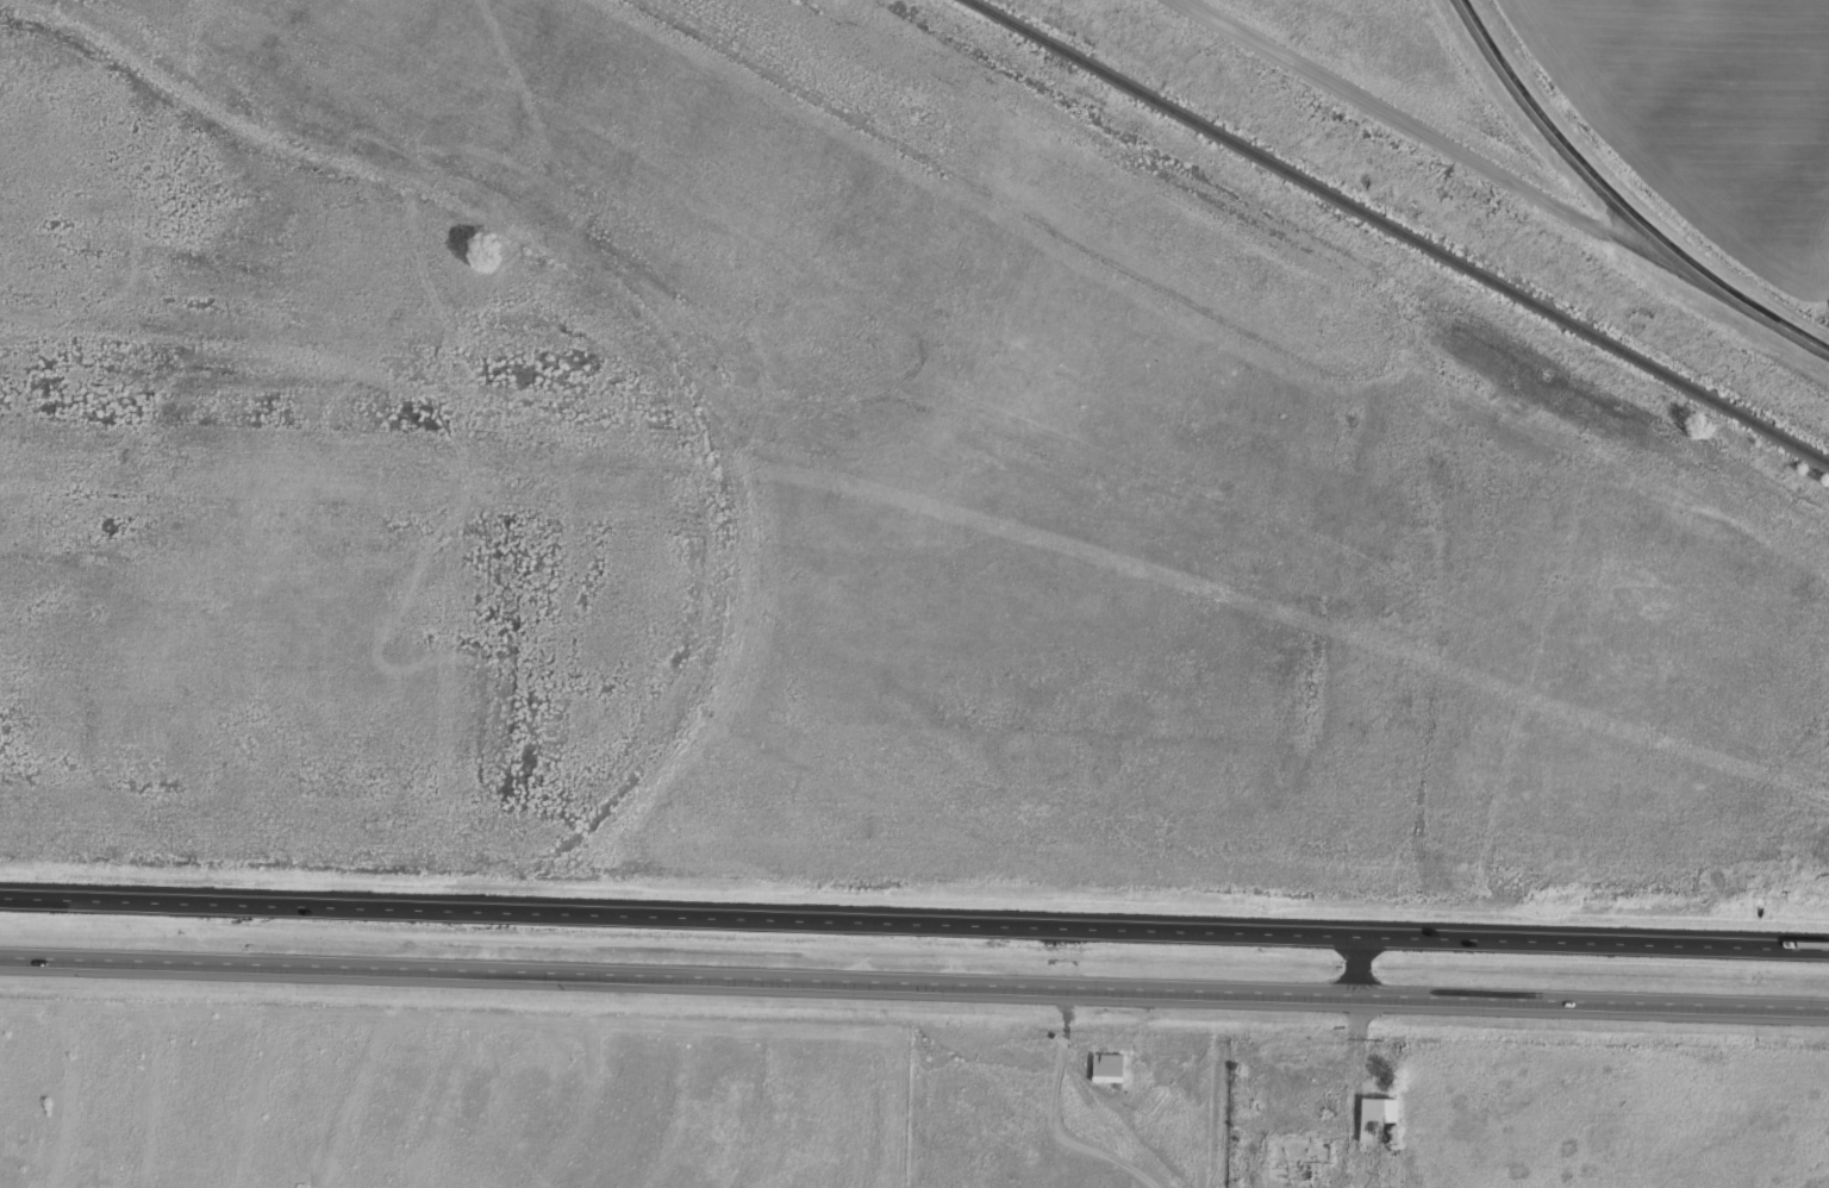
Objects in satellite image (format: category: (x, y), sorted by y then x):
road: (1550, 115)
road: (1406, 118)
railway: (1398, 231)
road: (1731, 286)
road: (913, 914)
road: (1354, 957)
road: (913, 975)
building: (1105, 1065)
building: (1375, 1118)
building: (1294, 1153)

